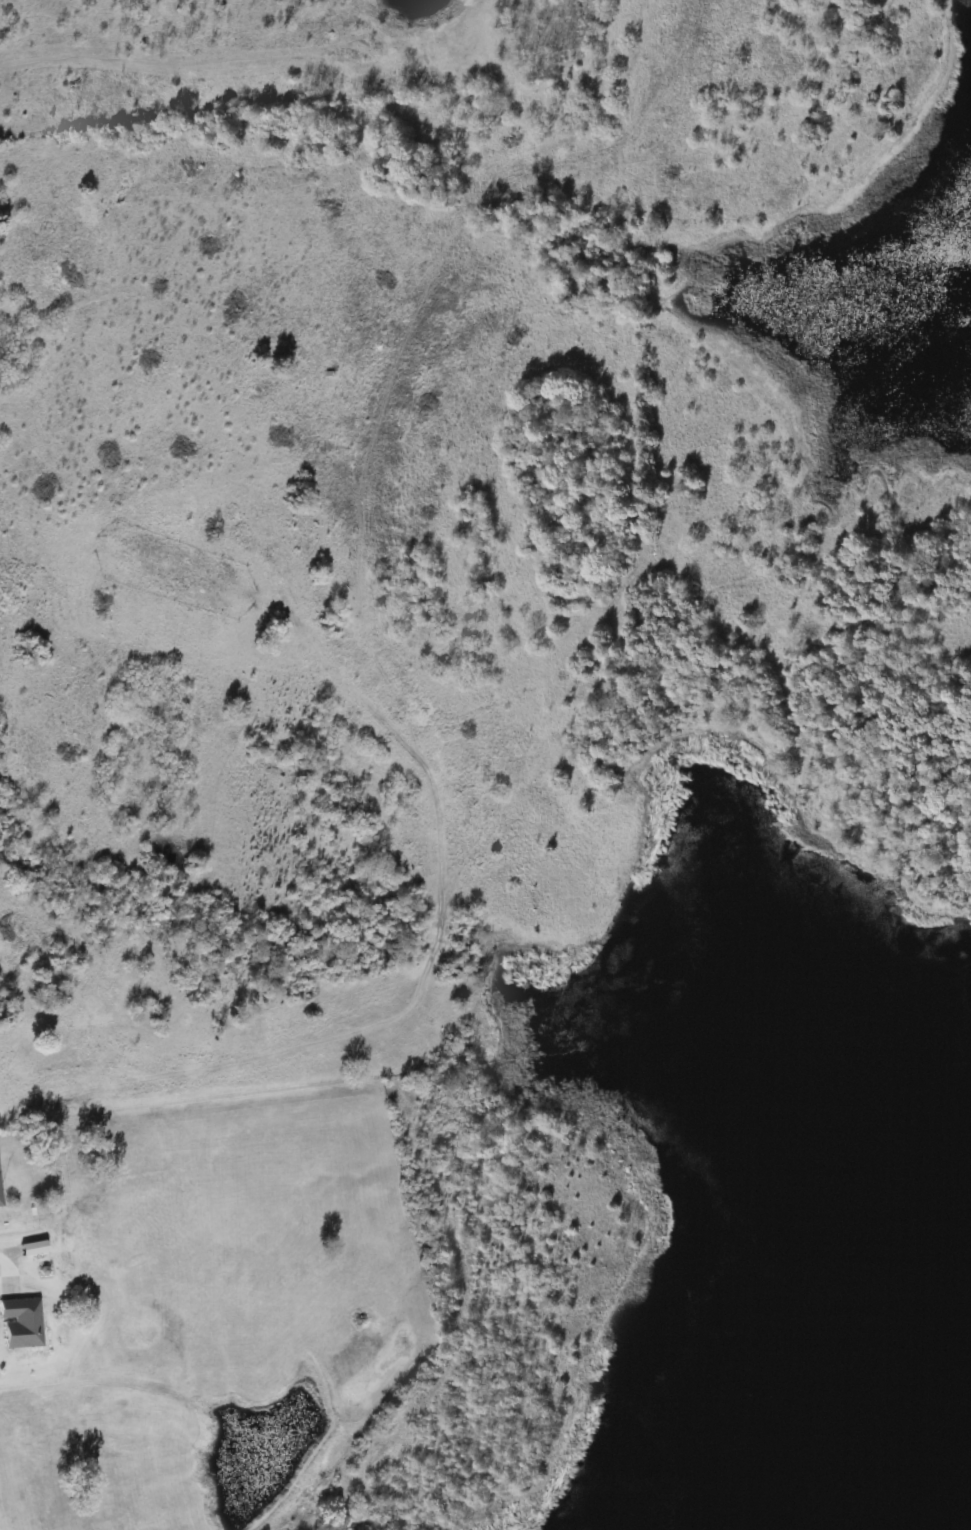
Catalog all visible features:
road: (10, 1266)
building: (18, 1323)

